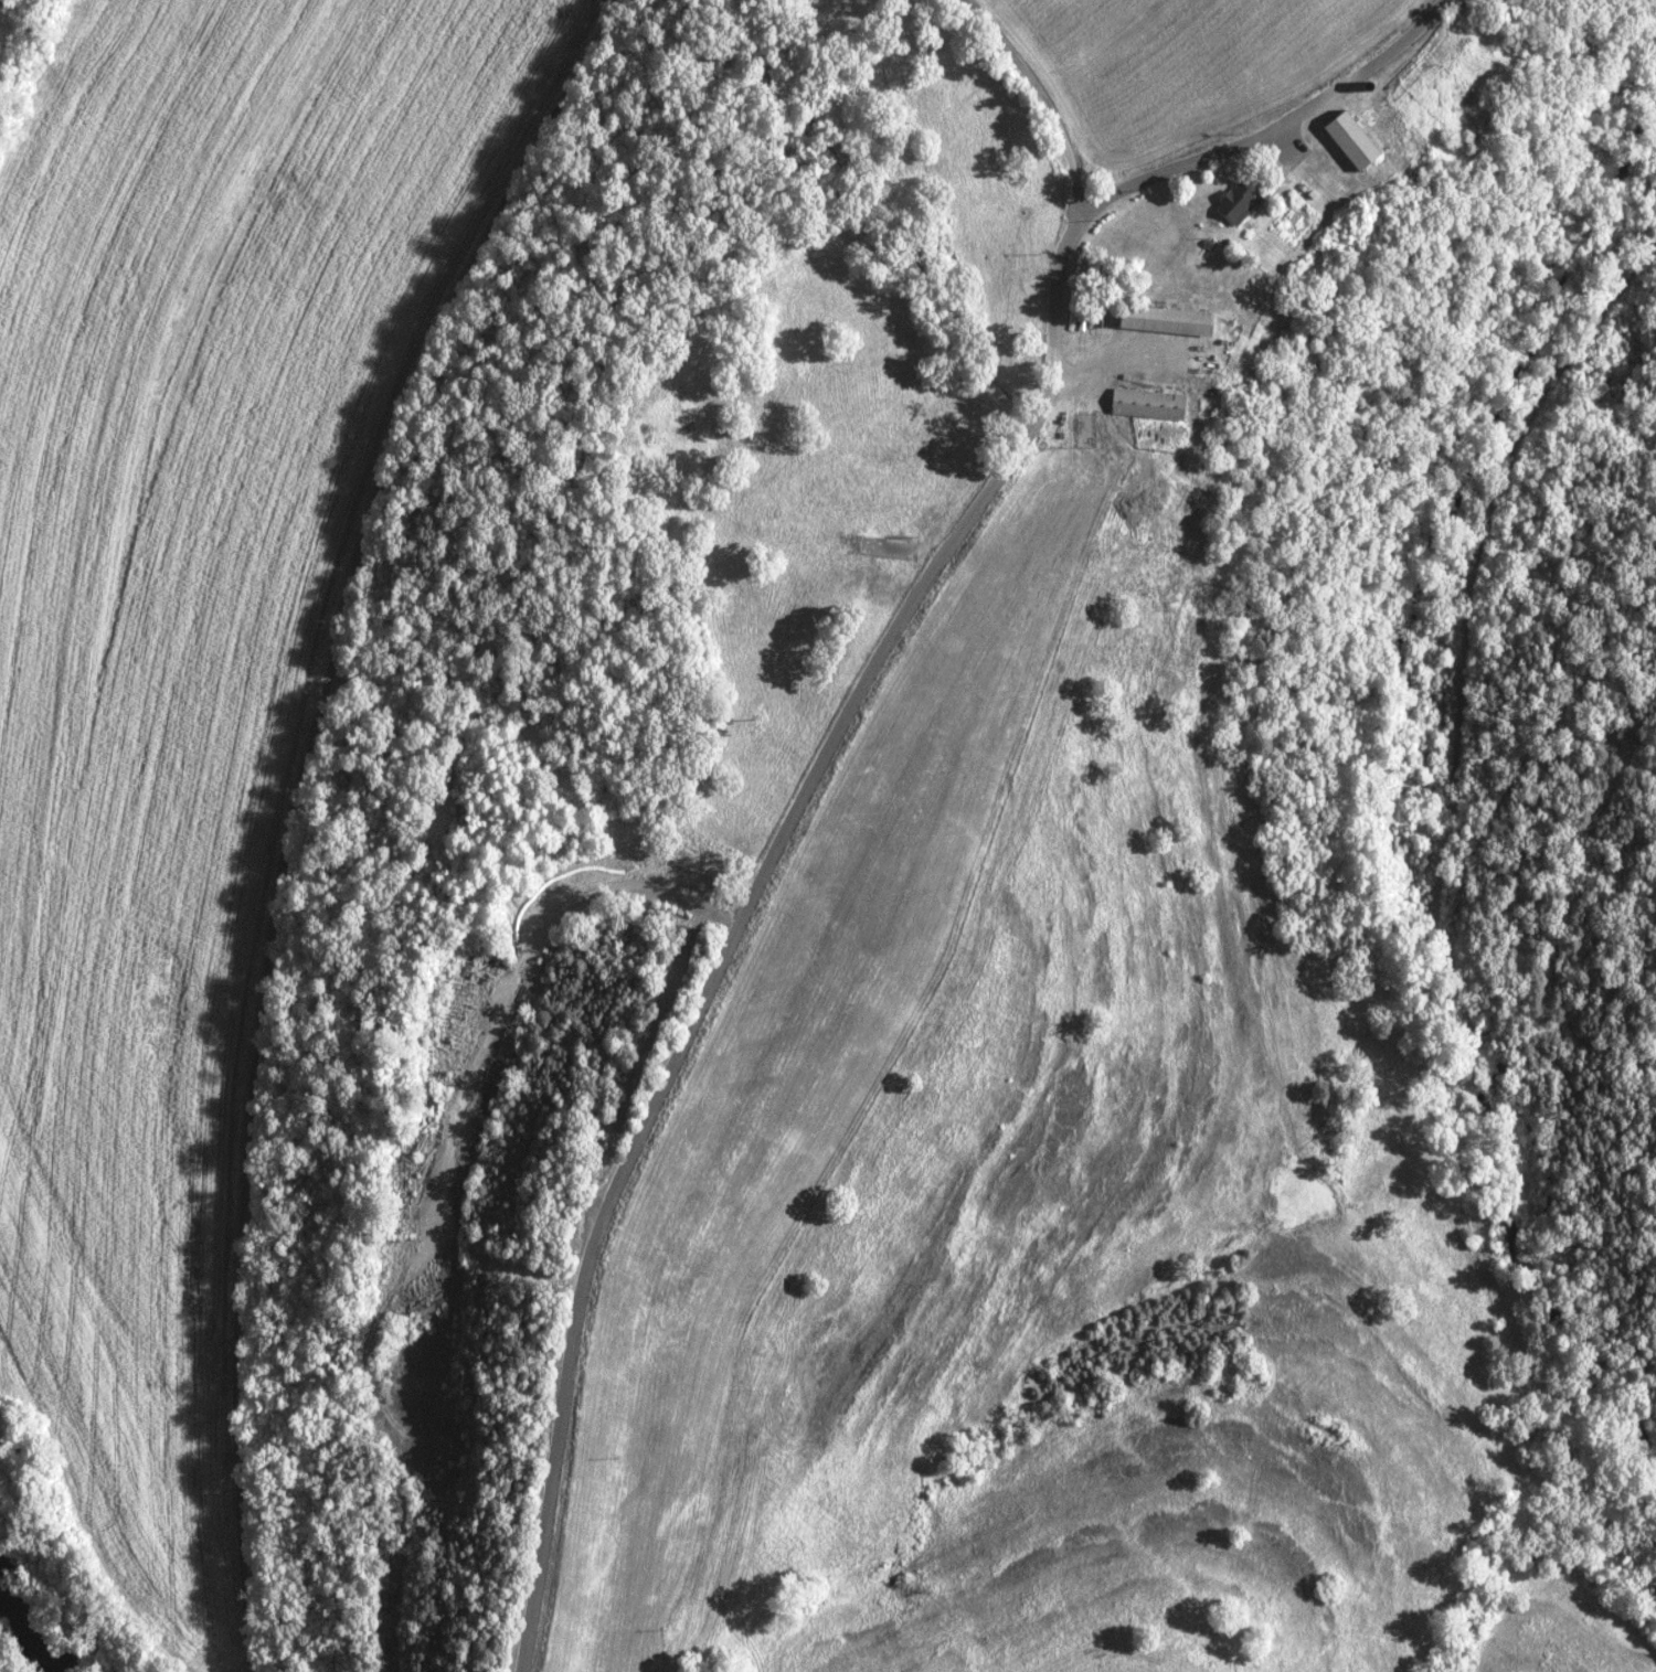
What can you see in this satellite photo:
road: (1041, 99)
road: (1294, 125)
building: (1346, 139)
building: (1231, 202)
building: (1160, 319)
building: (1144, 402)
road: (327, 807)
road: (755, 906)

